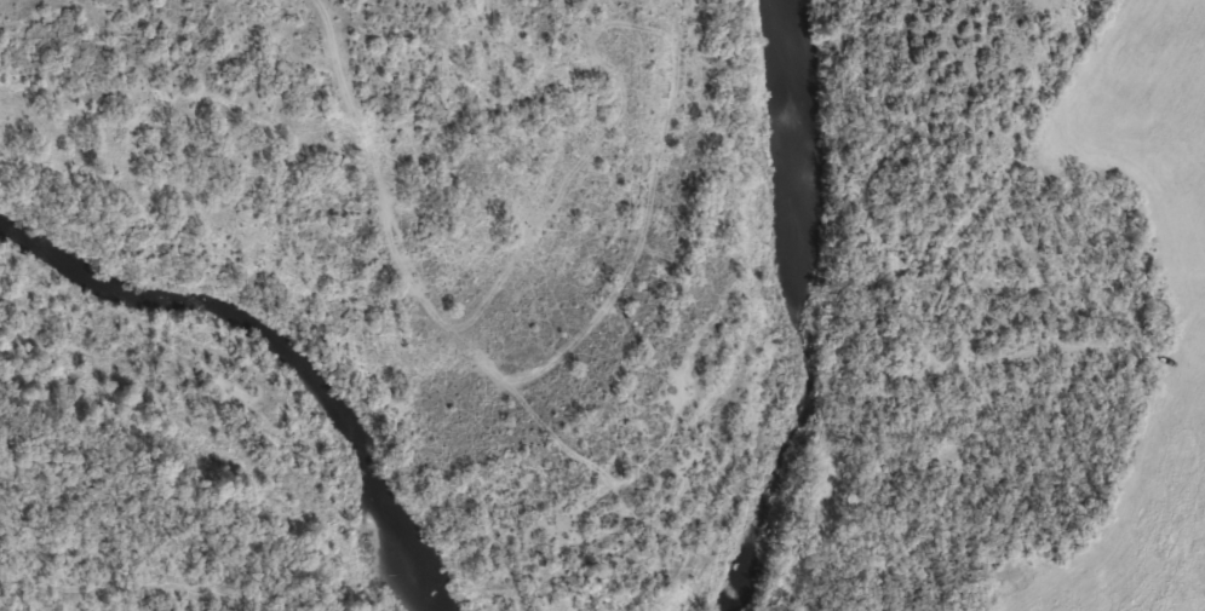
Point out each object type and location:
road: (1181, 307)
river: (799, 313)
river: (276, 348)

